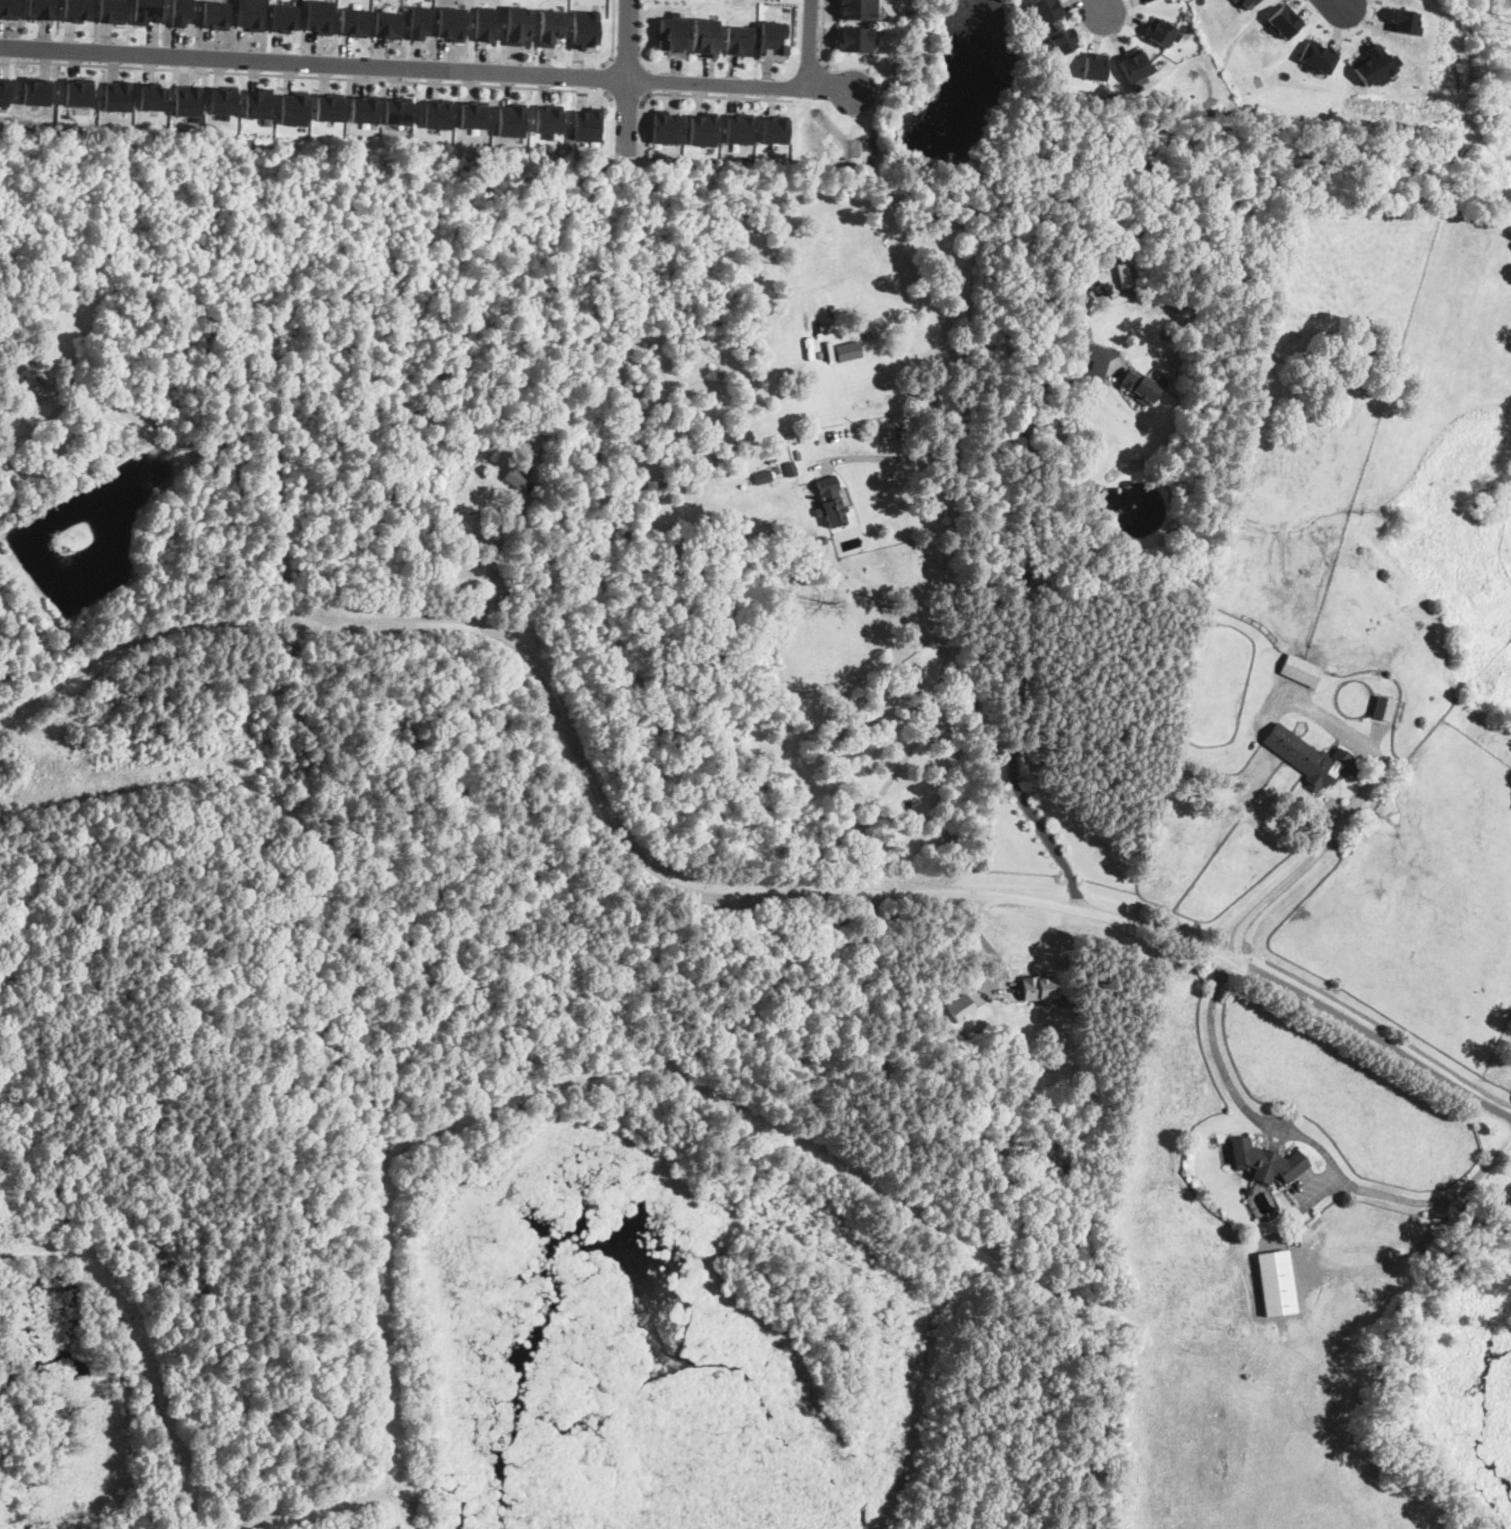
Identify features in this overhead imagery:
building: (1147, 0)
building: (1245, 3)
road: (1100, 6)
building: (42, 8)
building: (10, 9)
building: (858, 9)
building: (77, 10)
building: (1046, 10)
building: (111, 11)
building: (146, 11)
building: (180, 12)
building: (216, 14)
building: (250, 14)
building: (320, 16)
building: (284, 17)
building: (1284, 21)
building: (1404, 21)
building: (354, 22)
building: (420, 22)
building: (452, 23)
building: (388, 24)
building: (485, 24)
building: (518, 25)
building: (551, 27)
building: (585, 29)
building: (1160, 31)
building: (673, 34)
road: (614, 36)
building: (705, 36)
road: (823, 36)
building: (773, 39)
building: (855, 39)
building: (1064, 39)
building: (740, 40)
road: (810, 43)
building: (1318, 56)
building: (1134, 64)
building: (1095, 65)
building: (1375, 65)
road: (427, 68)
road: (337, 78)
road: (628, 78)
road: (607, 80)
road: (810, 83)
building: (5, 91)
building: (37, 91)
building: (79, 93)
building: (118, 95)
building: (152, 96)
road: (714, 96)
building: (189, 101)
building: (223, 101)
building: (259, 103)
road: (628, 103)
building: (329, 106)
building: (294, 108)
building: (364, 108)
building: (398, 110)
building: (438, 113)
building: (473, 114)
building: (548, 119)
building: (511, 120)
building: (587, 124)
building: (665, 126)
building: (739, 128)
building: (703, 129)
building: (775, 129)
building: (658, 146)
building: (1124, 273)
building: (1107, 282)
building: (1101, 294)
building: (1158, 299)
building: (1090, 307)
building: (4, 330)
building: (1081, 346)
building: (847, 351)
building: (821, 356)
building: (19, 373)
building: (1142, 387)
building: (720, 406)
road: (263, 428)
building: (540, 451)
building: (790, 469)
building: (516, 476)
building: (762, 477)
building: (1126, 484)
building: (529, 493)
building: (829, 501)
road: (492, 570)
road: (306, 622)
road: (948, 629)
road: (1025, 630)
building: (1300, 671)
building: (1382, 707)
building: (1310, 758)
building: (311, 831)
road: (1282, 884)
road: (998, 895)
building: (1033, 988)
building: (1052, 988)
building: (960, 1006)
building: (1046, 1027)
building: (1019, 1092)
road: (1315, 1144)
building: (1266, 1162)
building: (1248, 1191)
building: (1275, 1211)
building: (1276, 1282)
building: (1365, 1401)

